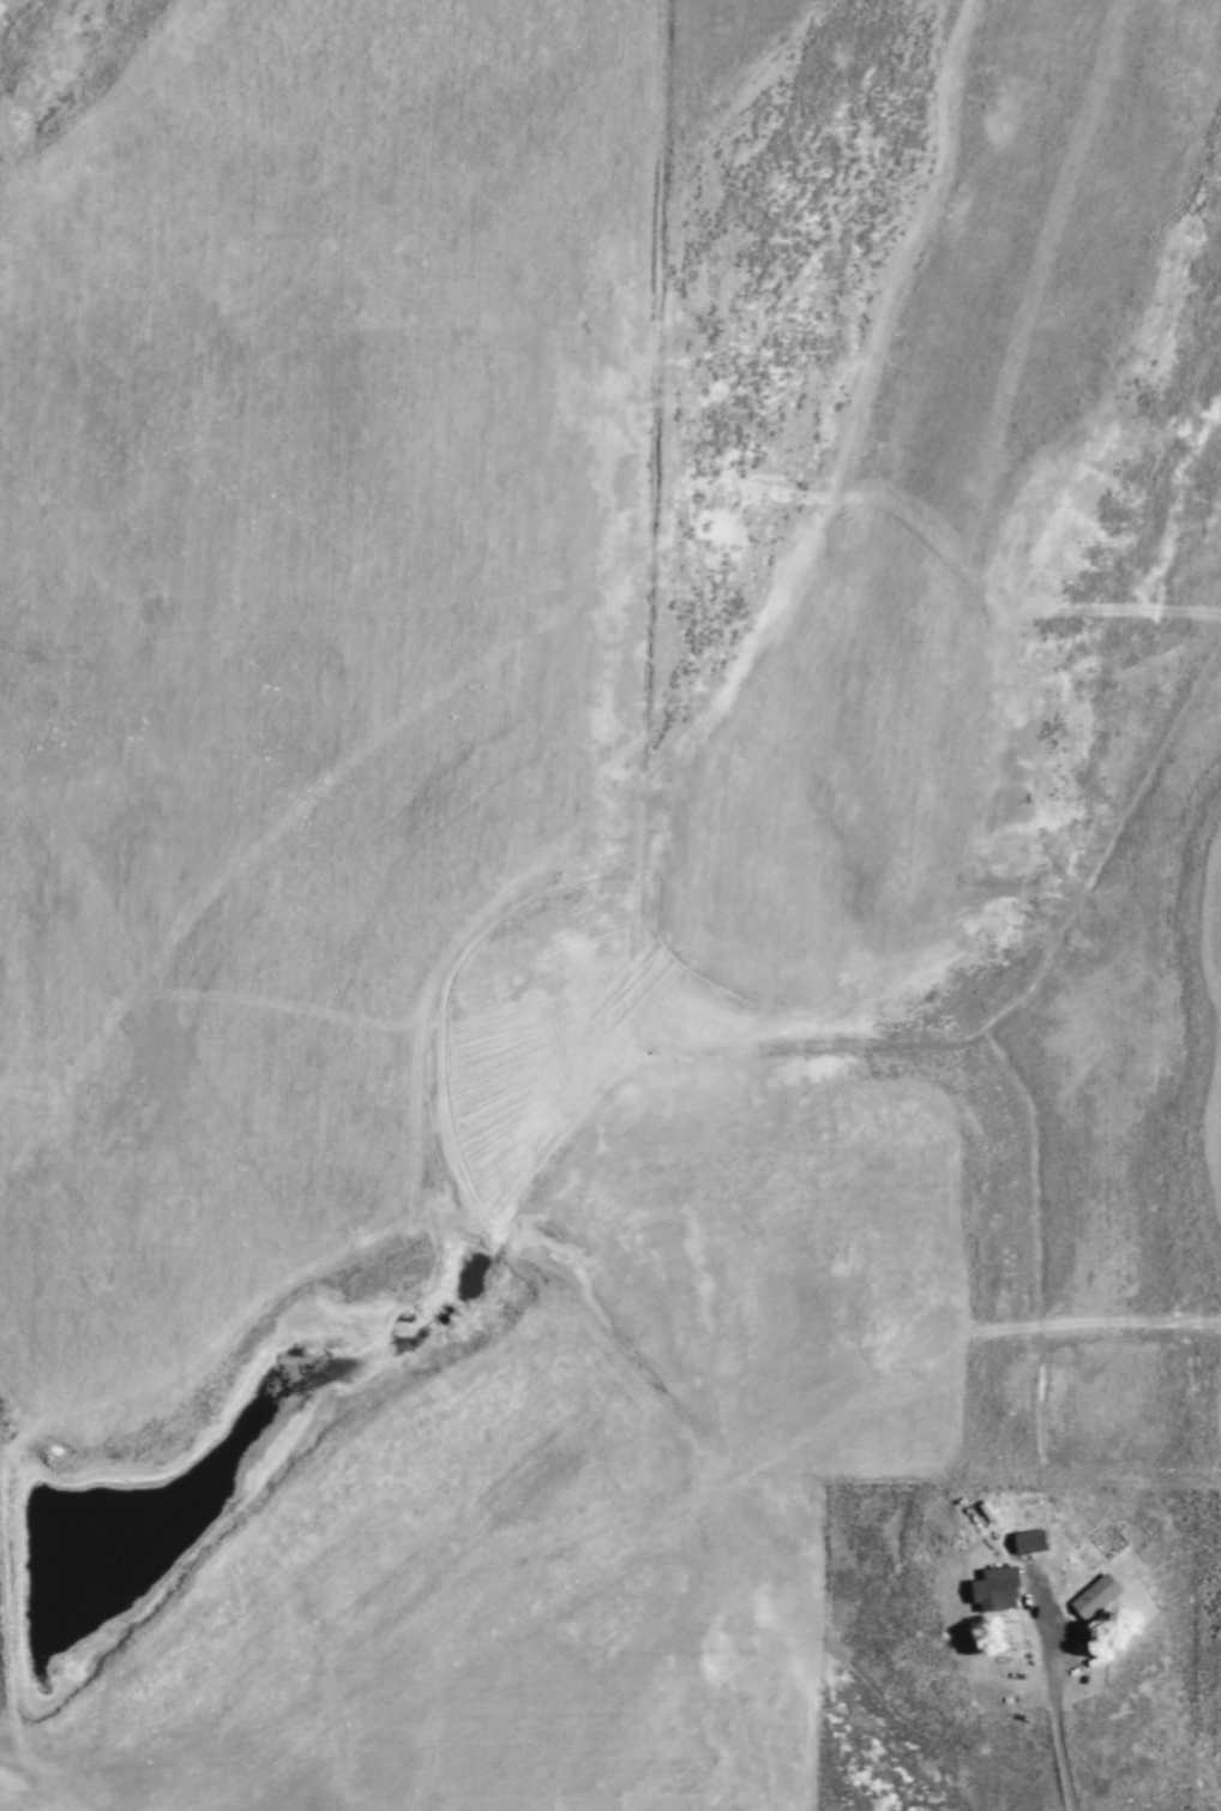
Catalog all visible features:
road: (654, 618)
road: (862, 1481)
building: (1031, 1542)
building: (998, 1590)
building: (1097, 1597)
road: (1066, 1763)

